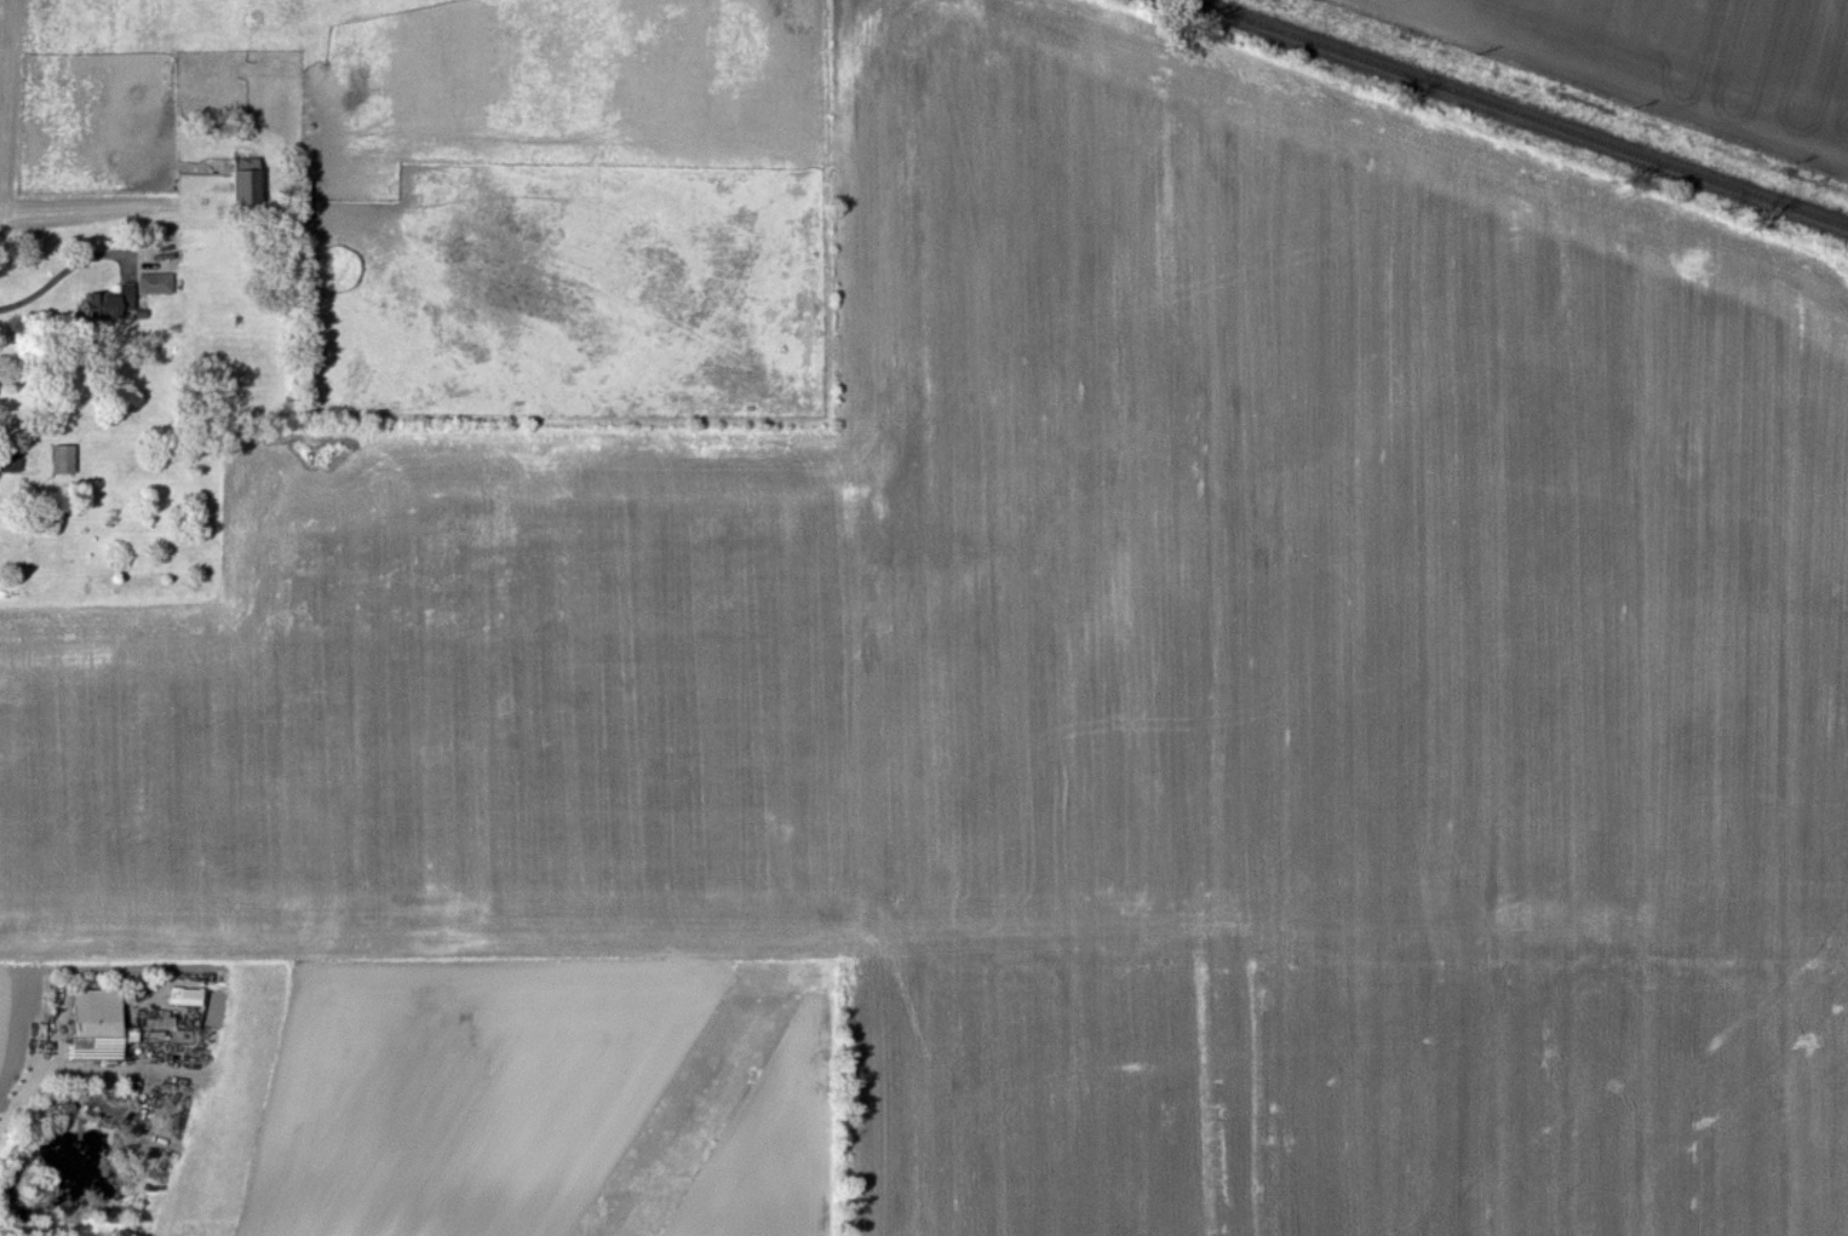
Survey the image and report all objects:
railway: (1513, 116)
building: (239, 184)
road: (58, 272)
building: (110, 300)
building: (8, 460)
building: (185, 994)
building: (94, 1022)
road: (19, 1098)
airport: (699, 1098)
airport runway: (688, 1117)

